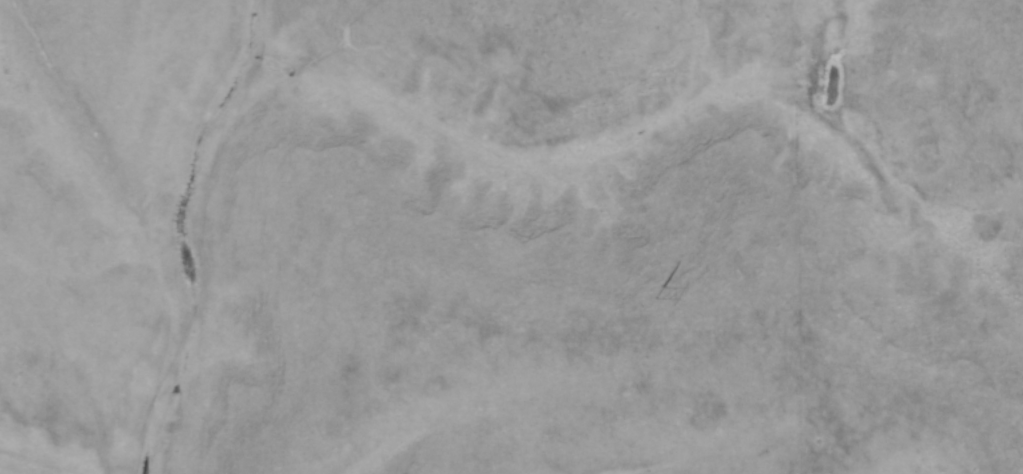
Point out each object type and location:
power tower: (656, 293)

